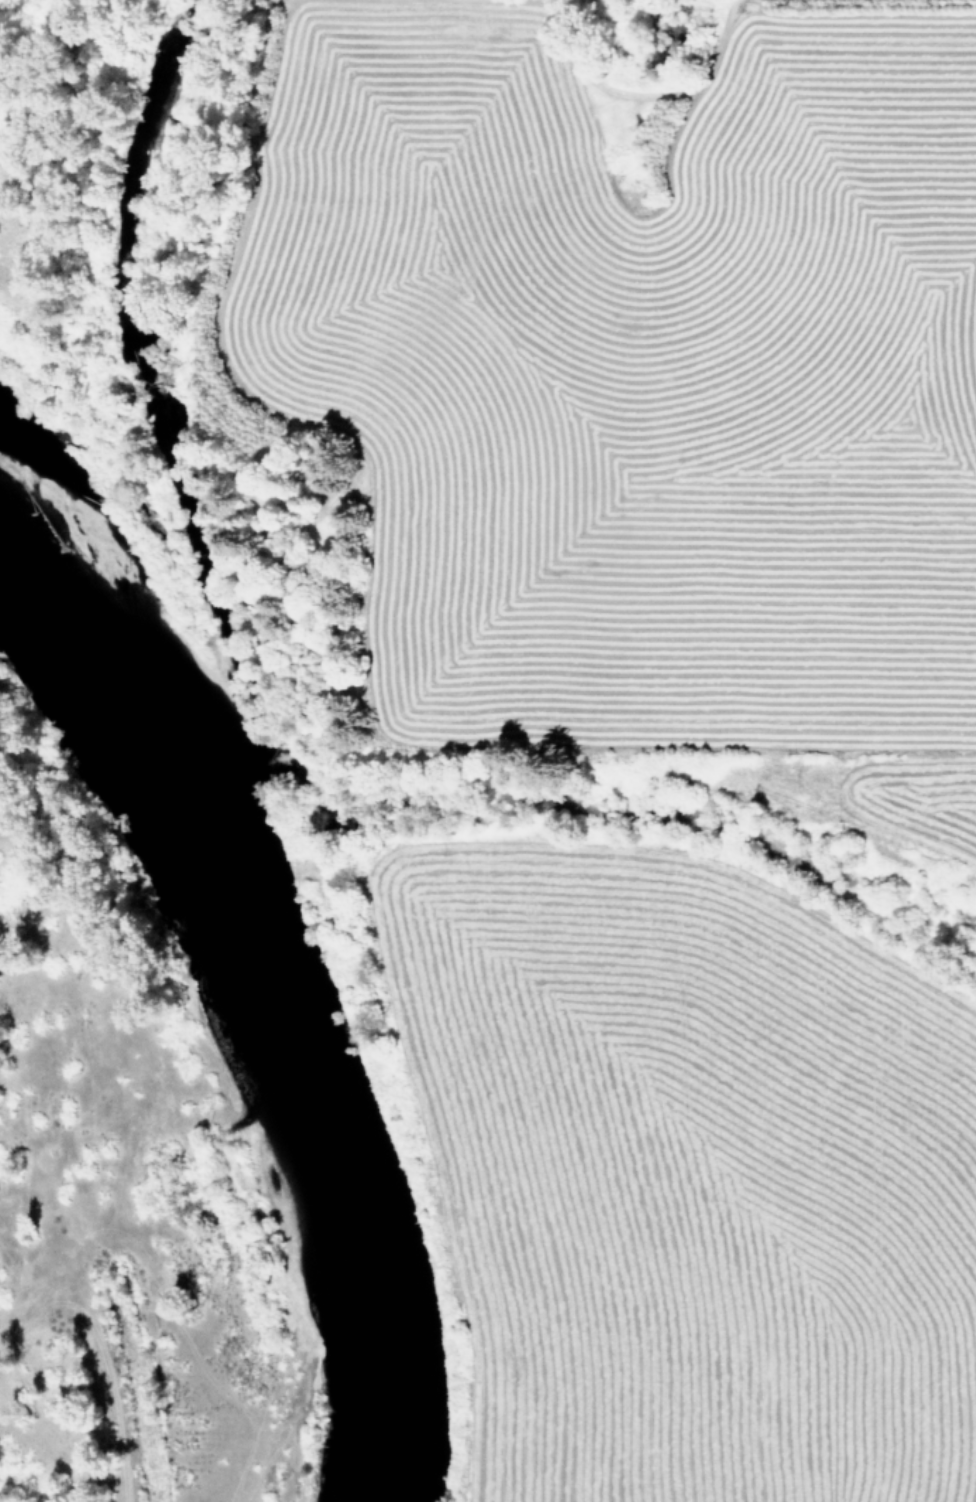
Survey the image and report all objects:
crop: (654, 698)
river: (278, 975)

